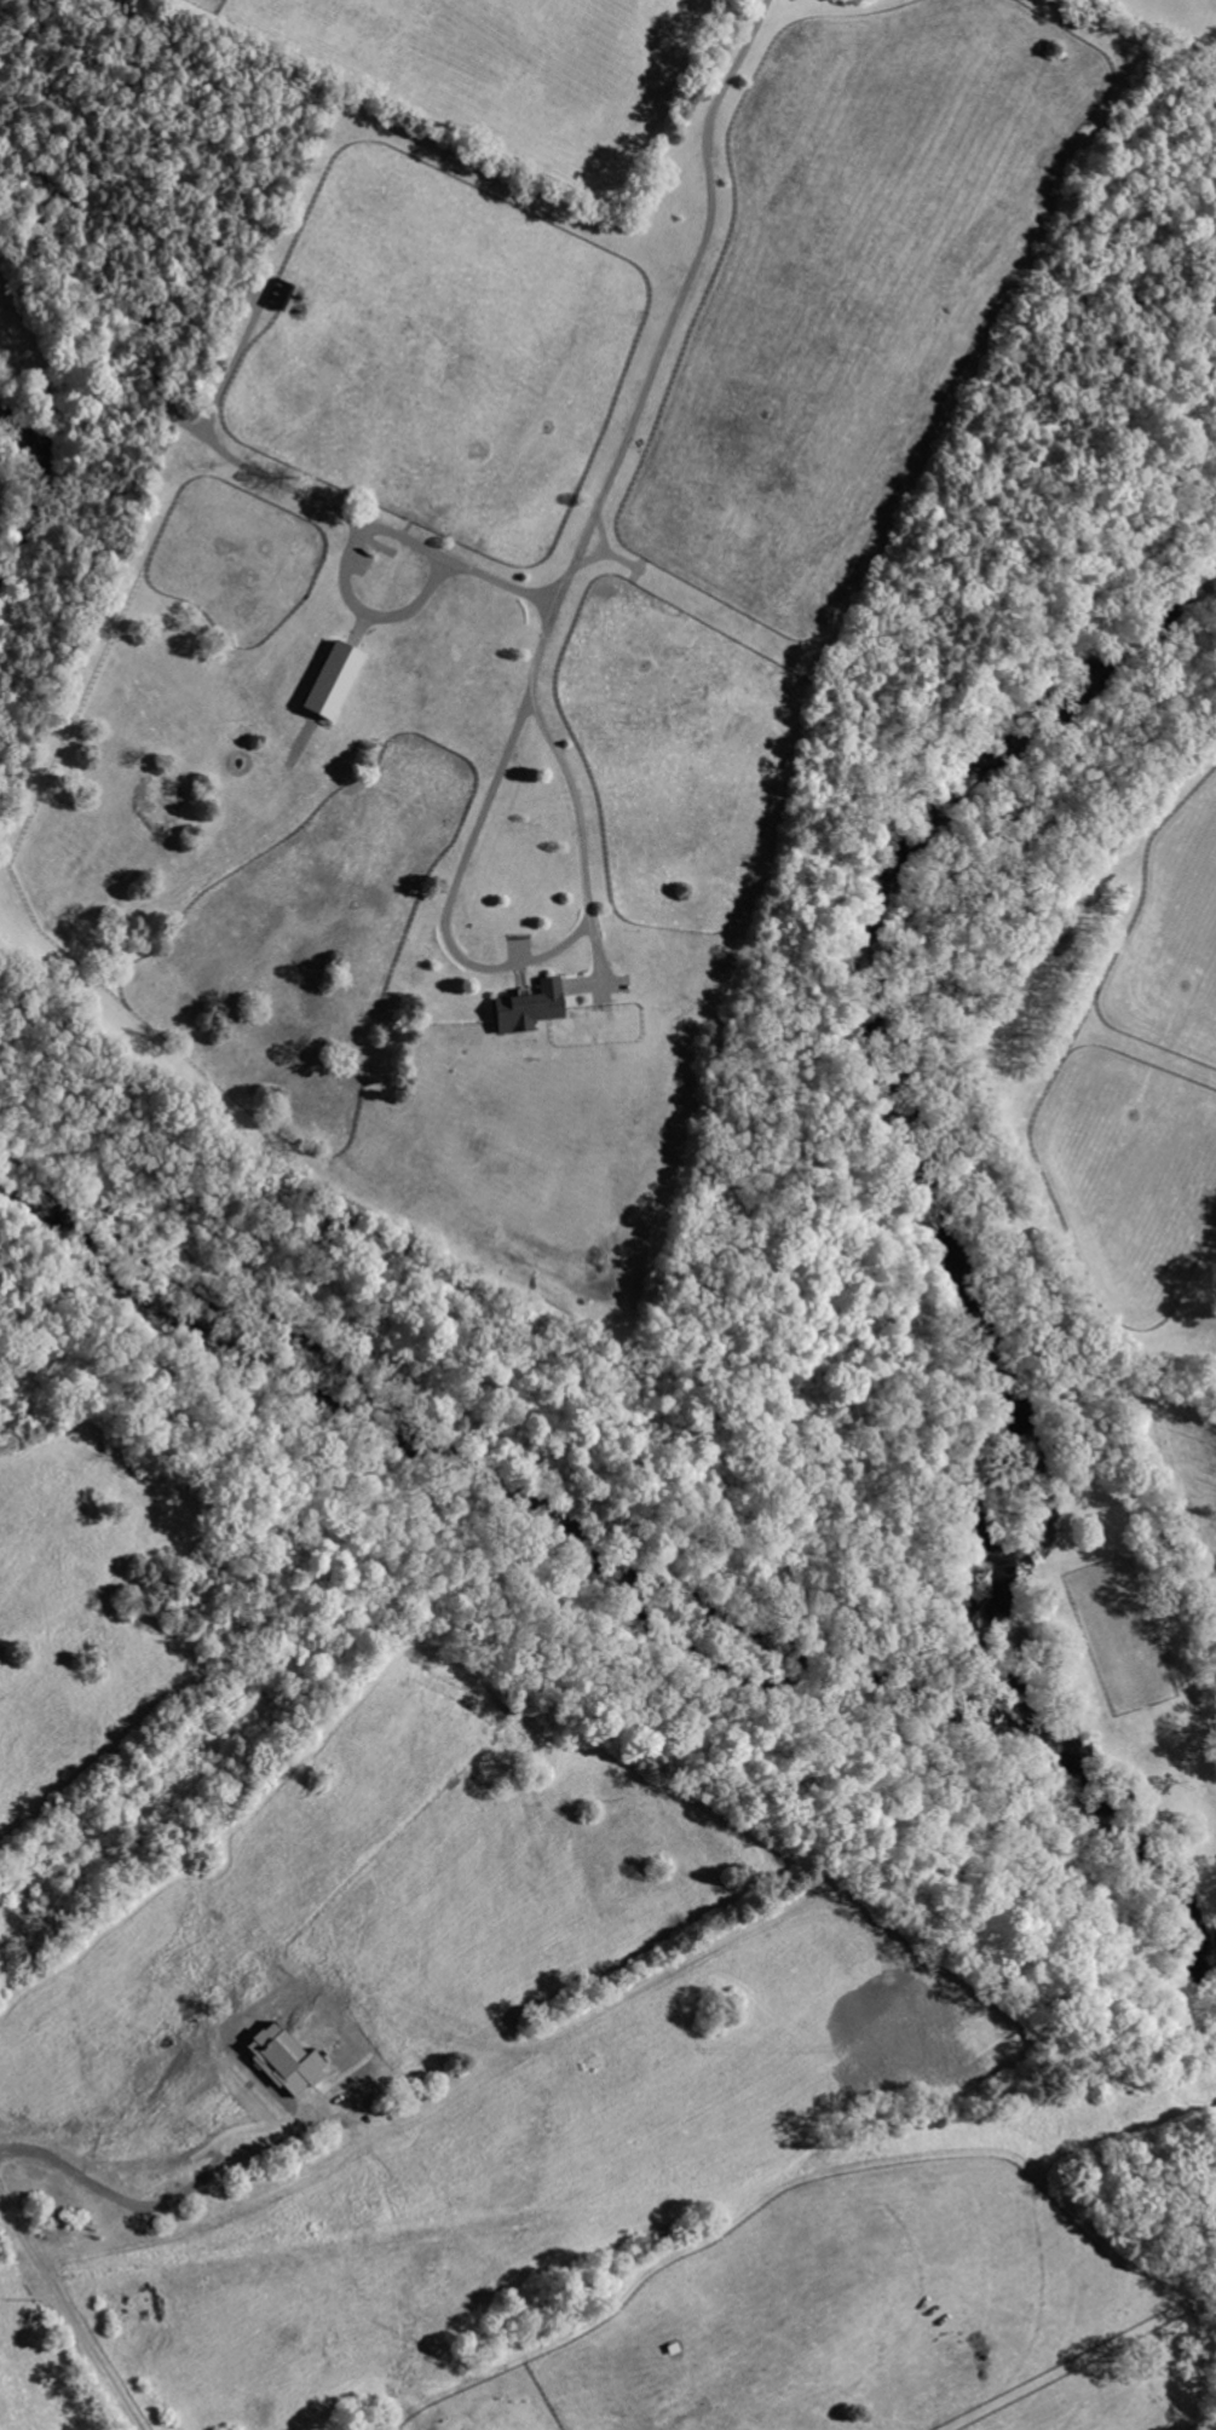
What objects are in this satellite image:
building: (279, 295)
road: (662, 349)
road: (306, 497)
building: (332, 681)
road: (507, 967)
building: (529, 1009)
river: (1055, 1757)
building: (286, 2058)
road: (161, 2163)
road: (67, 2308)

